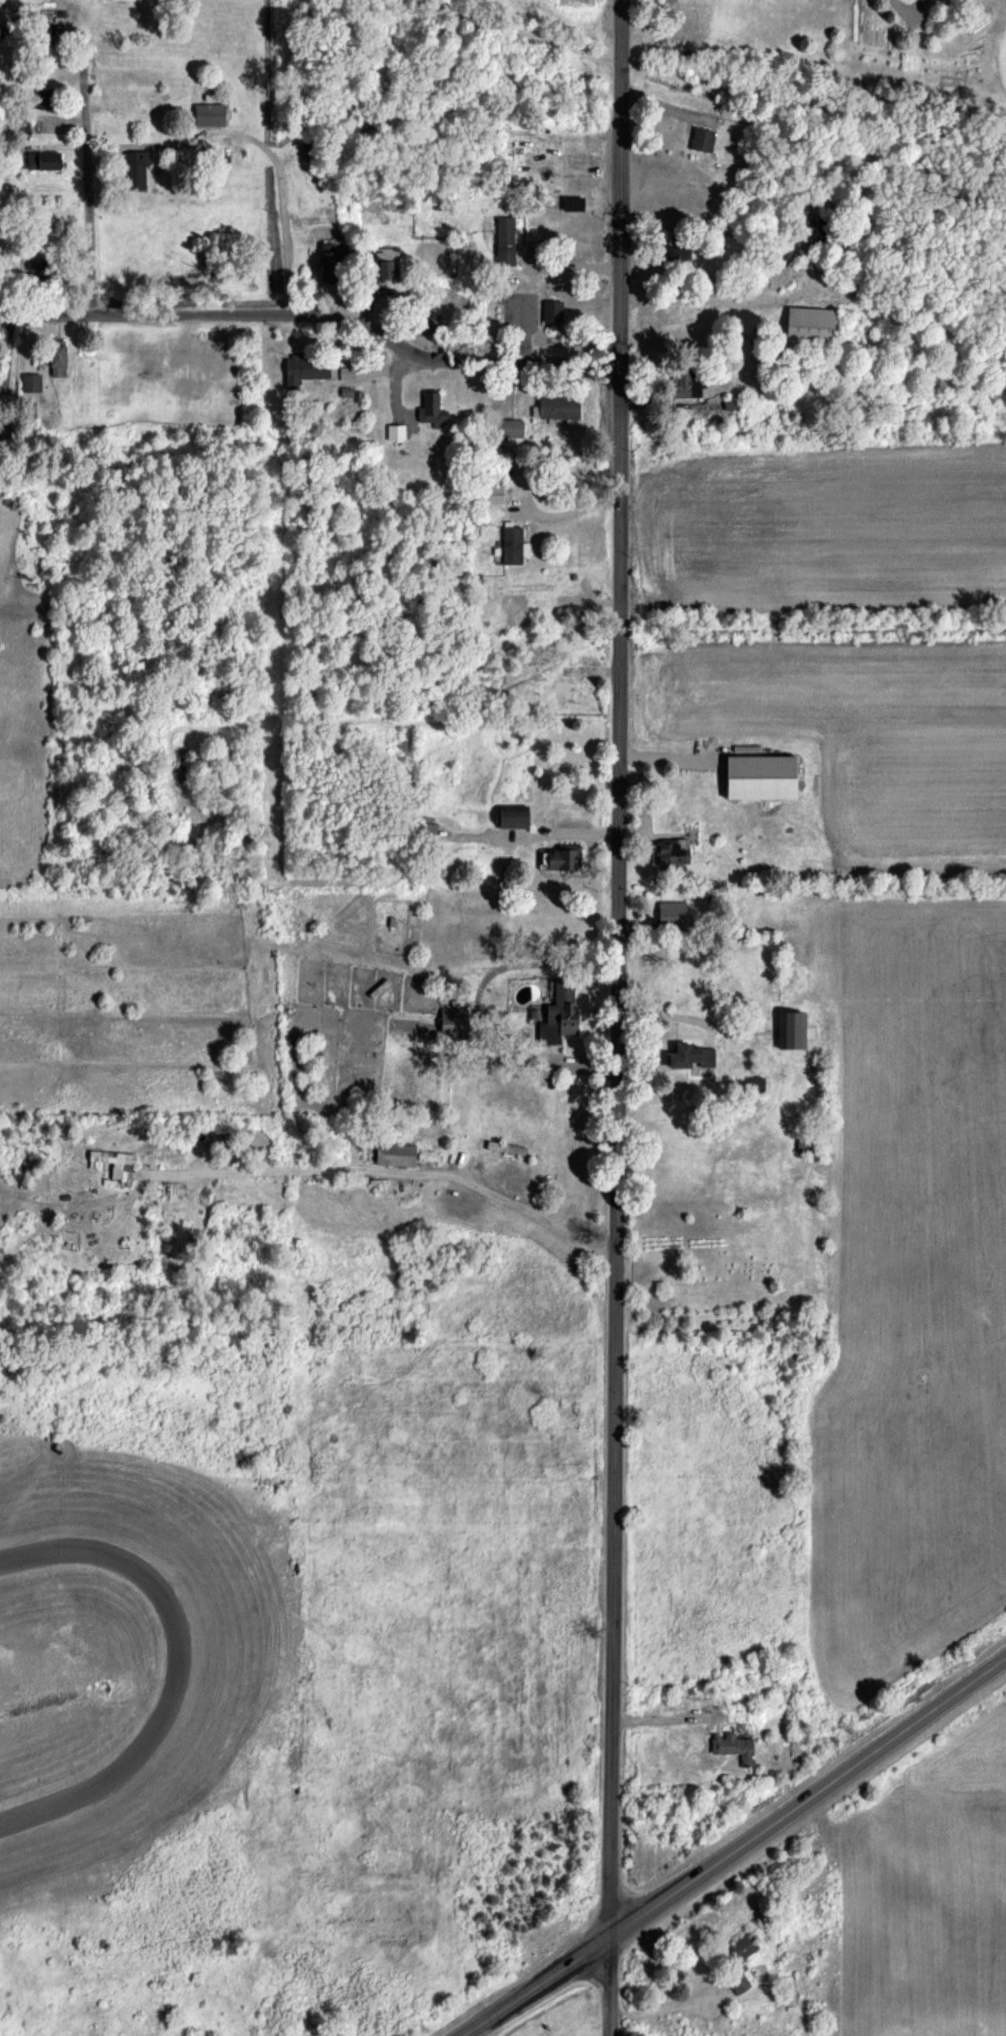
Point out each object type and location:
road: (710, 82)
building: (206, 113)
building: (20, 123)
building: (700, 138)
building: (41, 159)
building: (132, 168)
building: (570, 203)
road: (89, 204)
building: (503, 240)
building: (326, 255)
building: (673, 255)
building: (383, 261)
building: (550, 310)
road: (47, 318)
building: (424, 318)
building: (808, 323)
road: (357, 324)
building: (55, 357)
building: (303, 369)
building: (345, 372)
building: (30, 382)
building: (683, 384)
building: (555, 407)
building: (28, 409)
building: (430, 410)
building: (508, 427)
building: (395, 431)
building: (491, 492)
building: (512, 544)
building: (757, 775)
building: (508, 815)
road: (545, 838)
building: (669, 852)
building: (560, 855)
building: (669, 911)
road: (615, 968)
road: (475, 1009)
building: (555, 1014)
building: (447, 1021)
building: (787, 1028)
building: (687, 1054)
building: (753, 1082)
building: (504, 1147)
building: (392, 1153)
building: (118, 1166)
road: (403, 1175)
raceway: (298, 1553)
raceway: (21, 1556)
raceway: (175, 1638)
building: (732, 1746)
raceway: (45, 1805)
road: (735, 1850)
building: (738, 1946)
building: (736, 1981)
road: (612, 1987)

